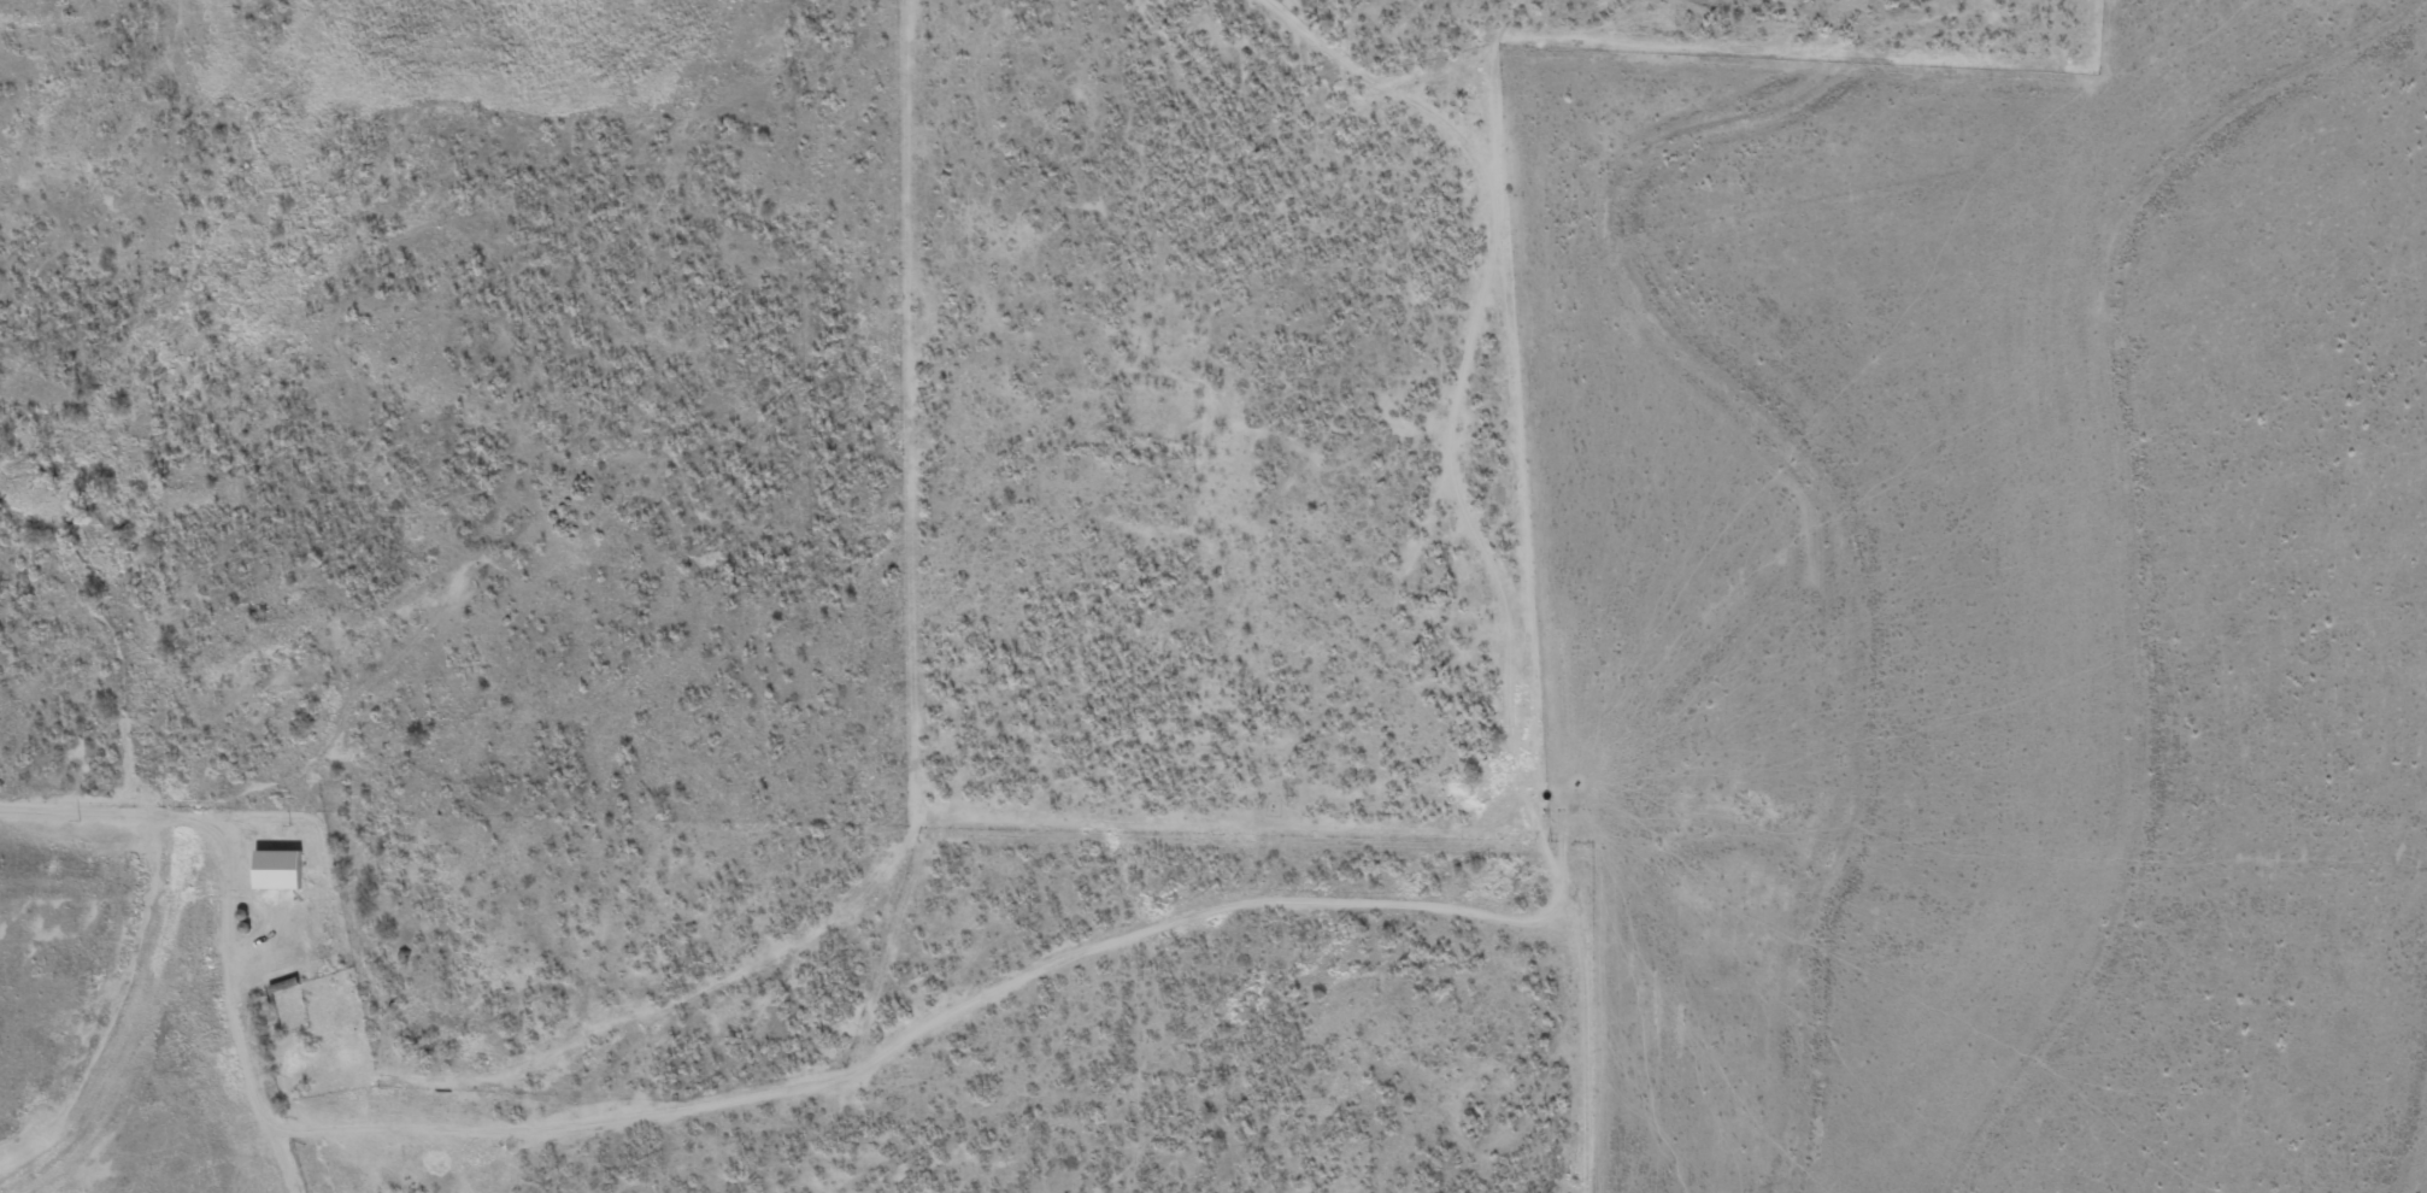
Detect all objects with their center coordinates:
road: (1277, 646)
road: (284, 801)
road: (178, 811)
building: (289, 1007)

